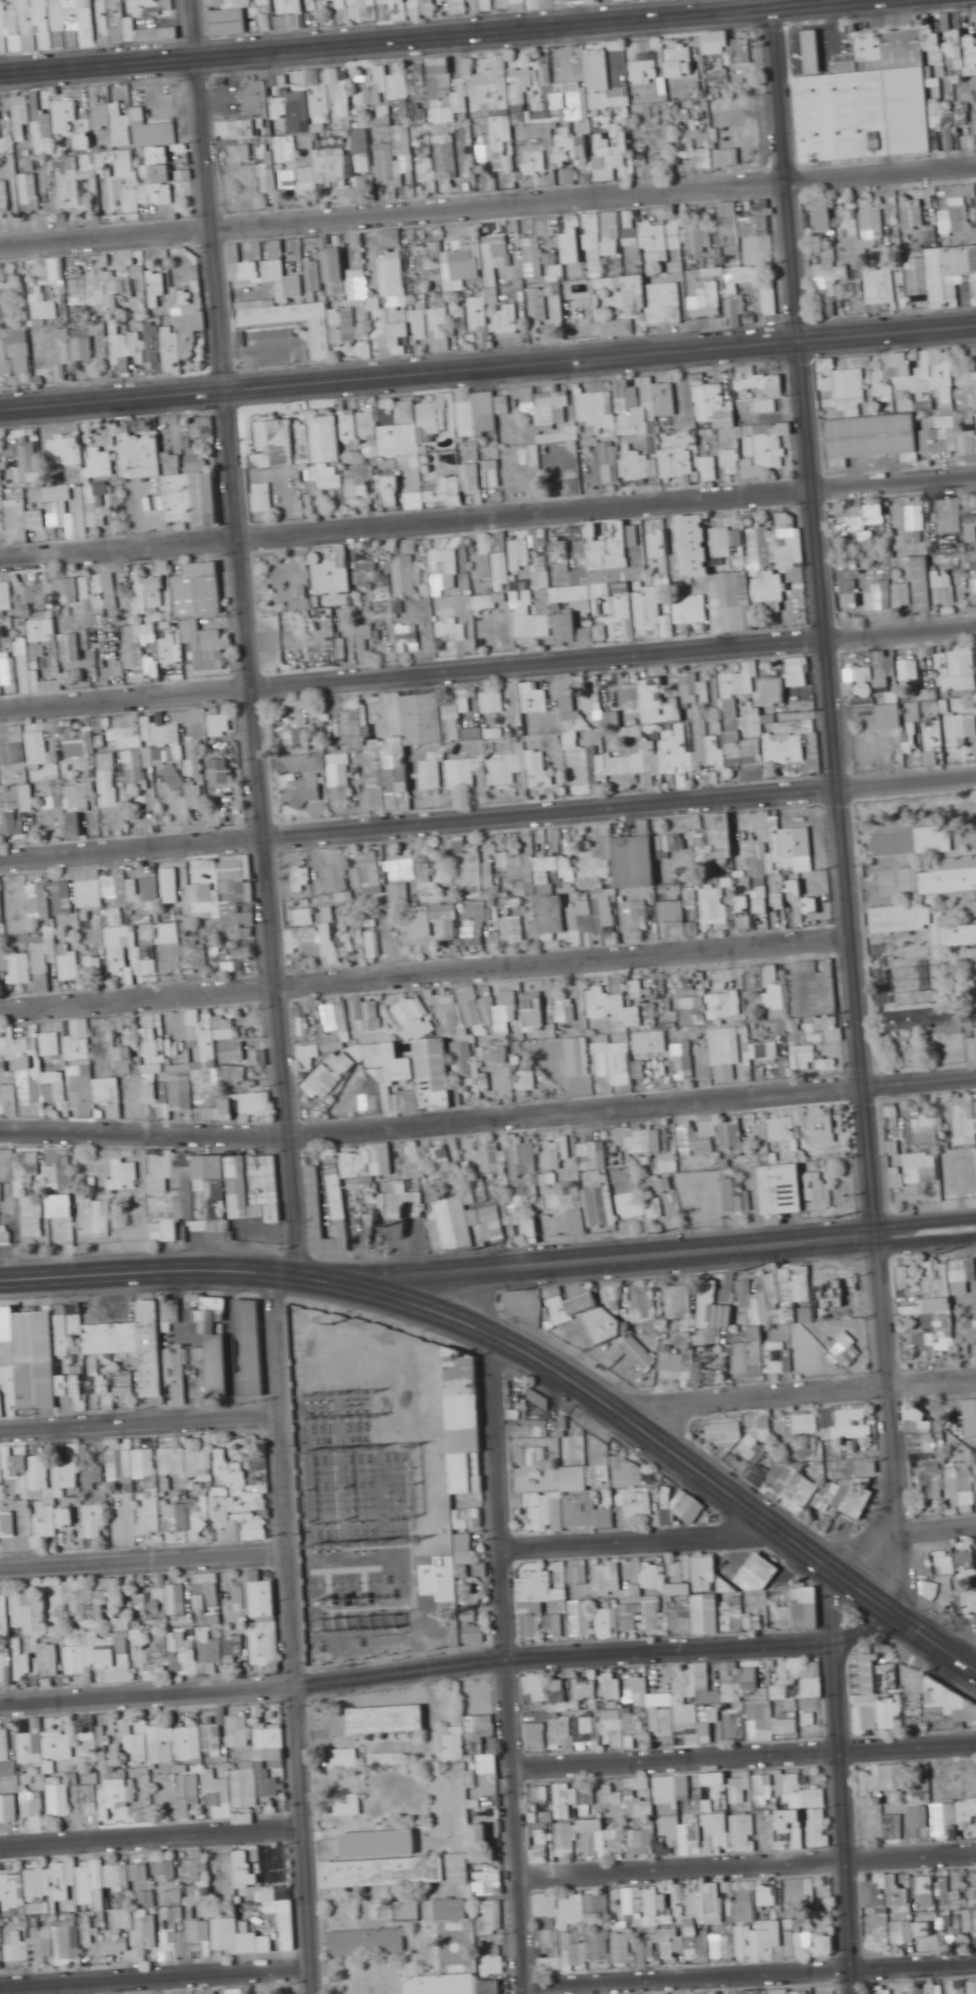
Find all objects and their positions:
road: (871, 1)
building: (229, 3)
building: (490, 5)
building: (302, 6)
building: (354, 6)
building: (429, 9)
building: (229, 21)
building: (72, 25)
road: (447, 33)
road: (819, 44)
building: (810, 47)
gas station: (810, 47)
building: (643, 70)
building: (718, 71)
building: (525, 78)
building: (489, 82)
building: (618, 97)
building: (443, 99)
building: (254, 106)
building: (65, 116)
building: (113, 120)
building: (156, 137)
building: (0, 144)
building: (572, 151)
building: (612, 154)
building: (241, 155)
building: (535, 163)
building: (388, 169)
building: (155, 171)
building: (269, 181)
building: (29, 193)
building: (4, 195)
road: (487, 202)
building: (912, 214)
building: (849, 215)
building: (824, 218)
building: (959, 219)
building: (872, 226)
building: (663, 233)
building: (756, 233)
building: (391, 237)
building: (698, 240)
building: (275, 250)
building: (829, 259)
building: (334, 264)
building: (392, 272)
building: (971, 273)
building: (250, 274)
building: (918, 277)
building: (105, 284)
building: (312, 287)
building: (881, 287)
building: (769, 298)
building: (44, 301)
building: (665, 302)
building: (540, 304)
building: (278, 312)
building: (344, 325)
building: (624, 327)
building: (15, 352)
building: (83, 354)
road: (488, 365)
building: (942, 368)
building: (895, 375)
building: (840, 386)
building: (626, 390)
building: (595, 408)
building: (649, 408)
building: (871, 436)
building: (273, 446)
building: (730, 454)
building: (23, 457)
building: (197, 466)
building: (139, 470)
building: (0, 476)
building: (472, 477)
building: (358, 481)
road: (487, 515)
building: (949, 515)
building: (36, 519)
building: (658, 543)
building: (789, 547)
building: (608, 552)
building: (973, 560)
building: (552, 561)
building: (344, 568)
building: (922, 583)
building: (768, 587)
building: (74, 590)
building: (199, 590)
building: (849, 593)
building: (882, 594)
building: (602, 606)
building: (623, 608)
building: (649, 608)
building: (691, 608)
building: (576, 616)
building: (532, 623)
building: (206, 644)
building: (139, 645)
road: (248, 645)
building: (69, 647)
building: (961, 662)
road: (487, 666)
building: (11, 669)
building: (881, 672)
building: (568, 697)
building: (657, 703)
building: (889, 710)
building: (202, 723)
building: (221, 724)
building: (352, 730)
building: (299, 736)
building: (934, 736)
building: (38, 748)
building: (785, 748)
building: (13, 754)
building: (135, 766)
road: (836, 766)
building: (340, 777)
building: (186, 787)
building: (304, 791)
building: (78, 796)
building: (15, 810)
road: (487, 816)
building: (75, 824)
building: (722, 835)
road: (425, 969)
road: (488, 1115)
road: (917, 1226)
road: (916, 1246)
road: (148, 1258)
road: (608, 1260)
road: (139, 1277)
road: (477, 1319)
road: (458, 1332)
road: (795, 1396)
road: (139, 1421)
power substation: (351, 1527)
road: (934, 1530)
road: (647, 1538)
road: (806, 1540)
road: (869, 1551)
road: (797, 1555)
road: (144, 1558)
building: (754, 1570)
gas station: (754, 1570)
road: (897, 1572)
road: (291, 1638)
road: (508, 1660)
road: (447, 1664)

